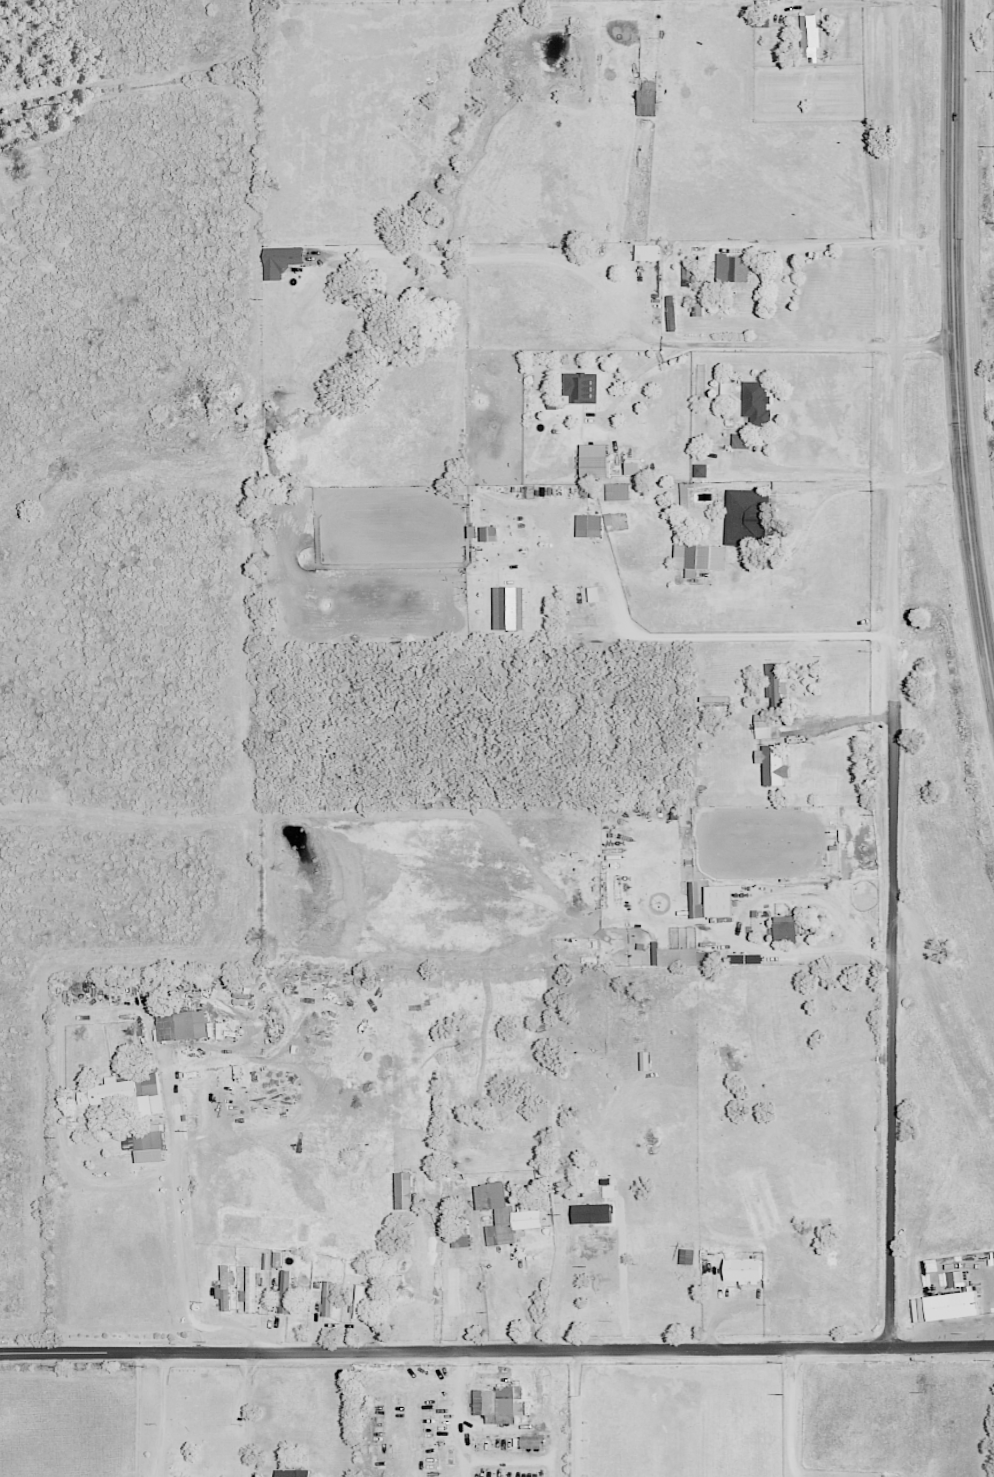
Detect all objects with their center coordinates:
building: (811, 36)
building: (649, 100)
road: (923, 243)
road: (824, 247)
building: (649, 251)
road: (523, 258)
building: (734, 267)
building: (689, 275)
road: (896, 333)
road: (790, 346)
road: (925, 347)
road: (954, 351)
building: (582, 386)
building: (727, 387)
building: (759, 399)
building: (742, 440)
building: (596, 459)
building: (634, 467)
road: (820, 468)
building: (702, 470)
road: (930, 478)
building: (619, 491)
building: (749, 516)
building: (589, 525)
building: (490, 533)
building: (700, 557)
building: (598, 593)
building: (510, 607)
road: (725, 637)
building: (775, 684)
road: (842, 720)
building: (766, 725)
building: (774, 764)
building: (714, 900)
building: (788, 928)
road: (733, 929)
building: (689, 956)
building: (178, 1019)
road: (891, 1030)
building: (128, 1093)
building: (151, 1145)
road: (176, 1209)
building: (508, 1214)
building: (688, 1255)
building: (273, 1259)
building: (745, 1269)
road: (564, 1271)
building: (957, 1278)
building: (226, 1286)
building: (252, 1287)
building: (285, 1292)
building: (328, 1299)
building: (360, 1301)
building: (947, 1305)
road: (527, 1310)
road: (496, 1351)
building: (498, 1402)
road: (792, 1413)
road: (247, 1414)
road: (575, 1414)
road: (161, 1415)
building: (294, 1473)

